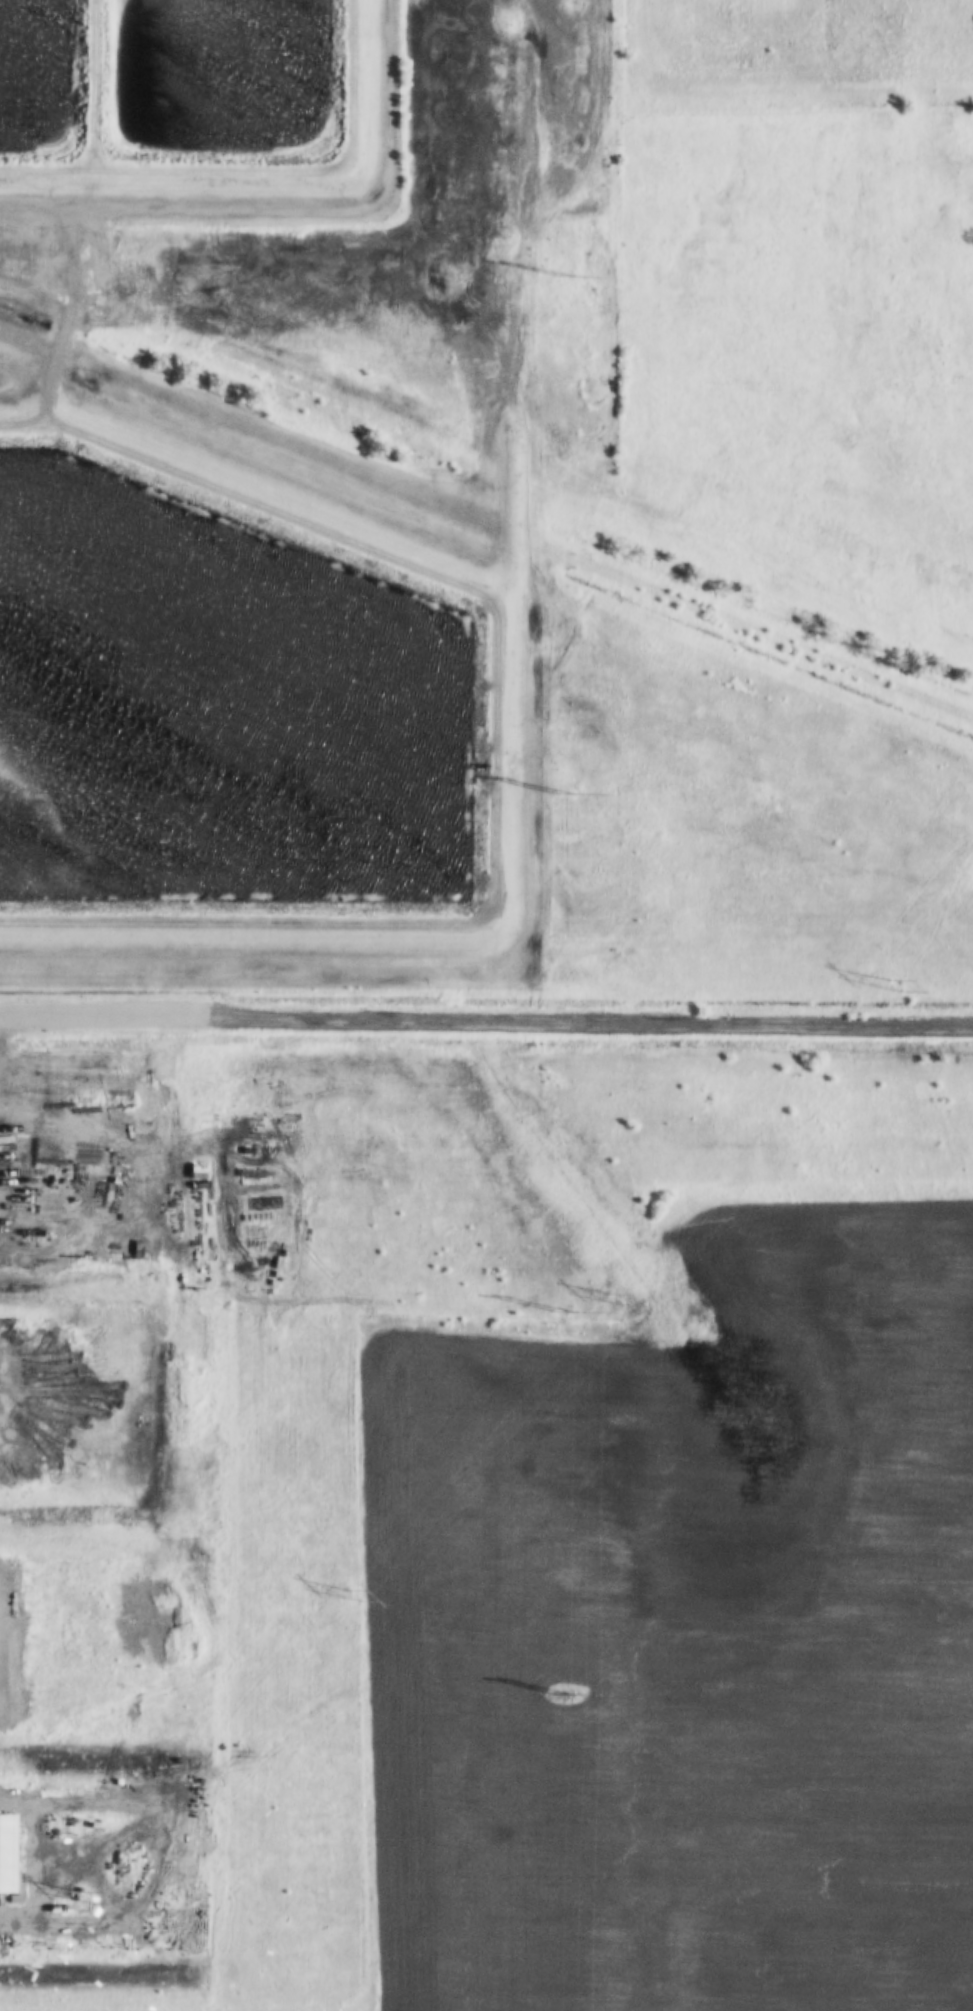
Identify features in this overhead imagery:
power tower: (554, 276)
power tower: (549, 795)
power tower: (890, 985)
road: (100, 1015)
road: (587, 1021)
power tower: (617, 1297)
power tower: (551, 1313)
power tower: (354, 1595)
crop: (685, 1632)
power tower: (557, 1697)
building: (4, 1849)
power tower: (84, 1899)

